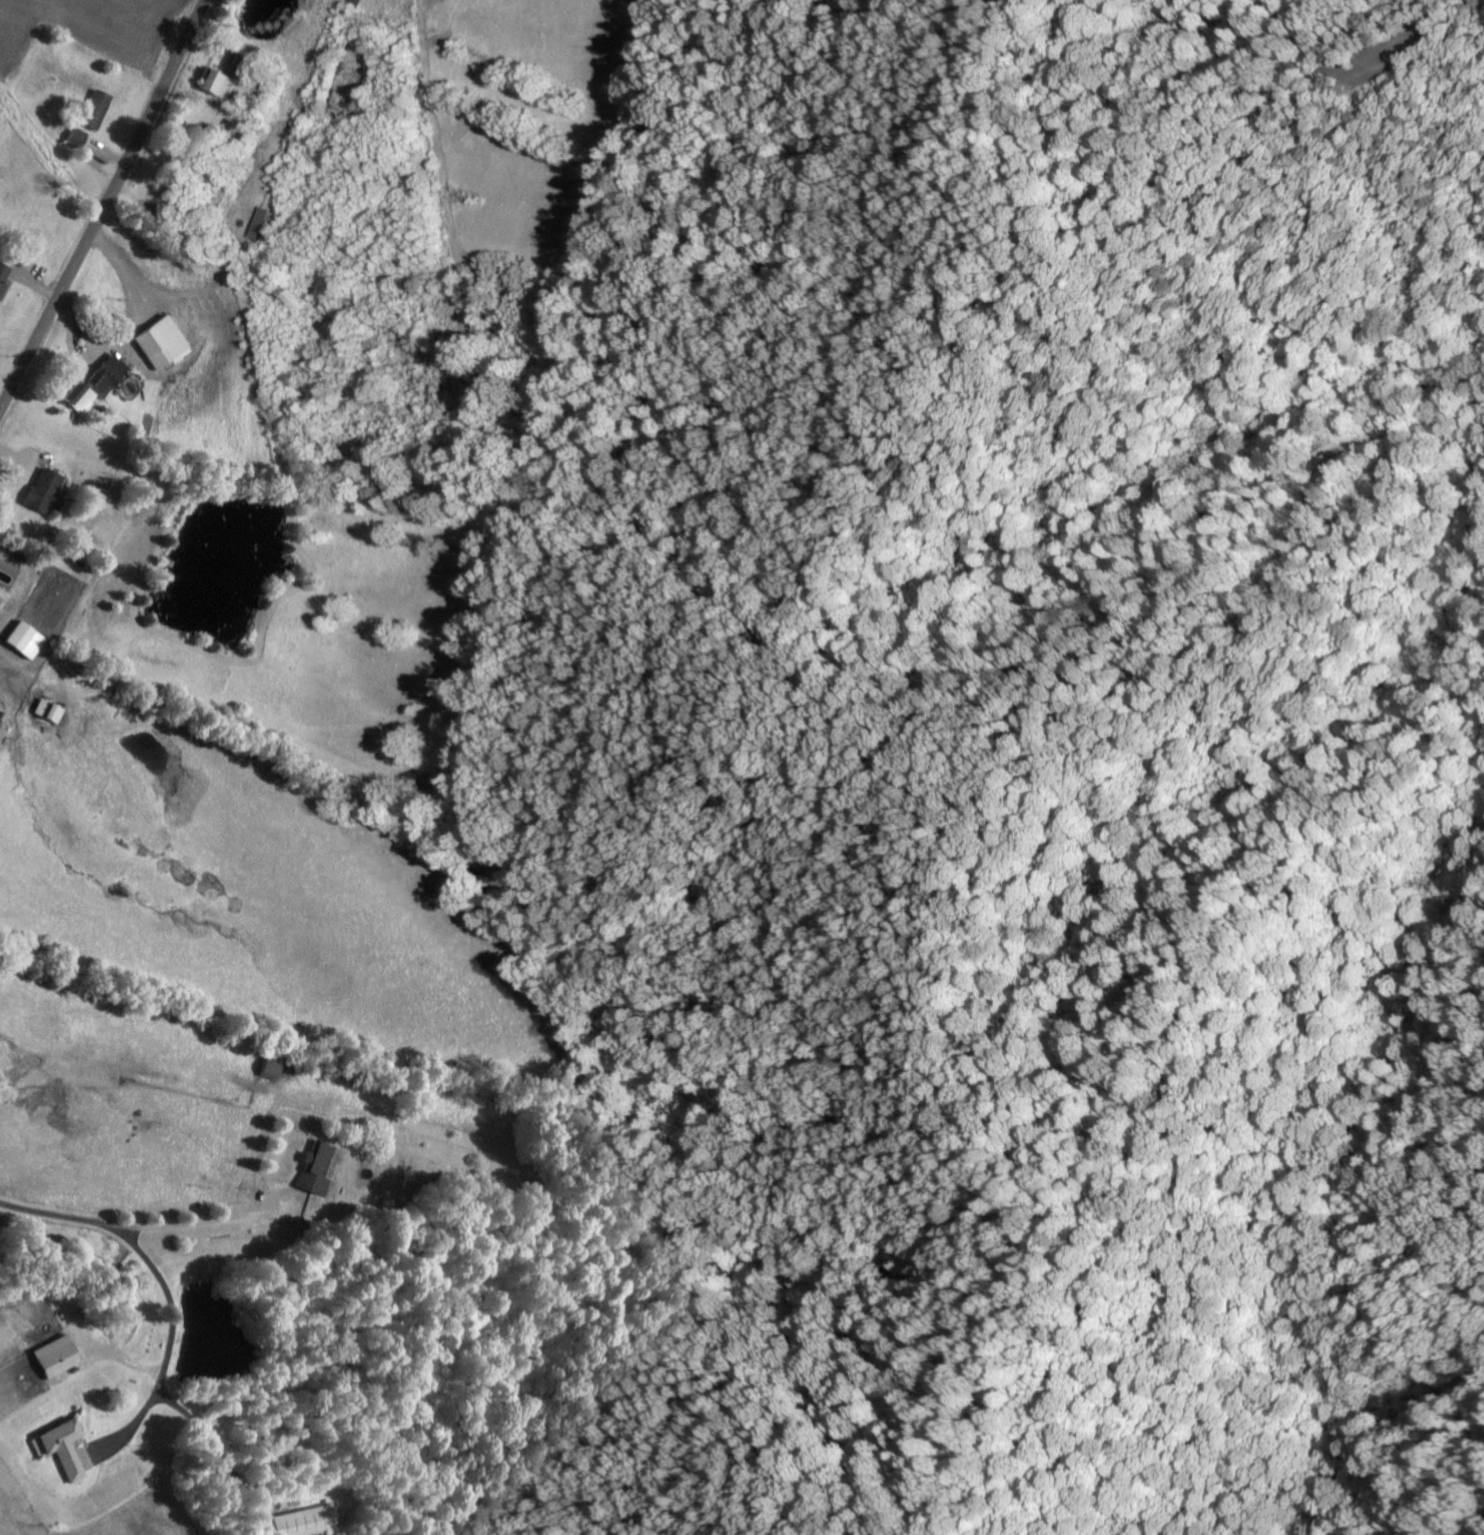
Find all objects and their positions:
building: (357, 3)
building: (220, 83)
building: (100, 110)
building: (82, 139)
road: (104, 207)
building: (5, 278)
building: (169, 344)
building: (103, 383)
building: (50, 490)
building: (31, 639)
building: (265, 1069)
building: (314, 1167)
building: (52, 1356)
building: (62, 1448)

